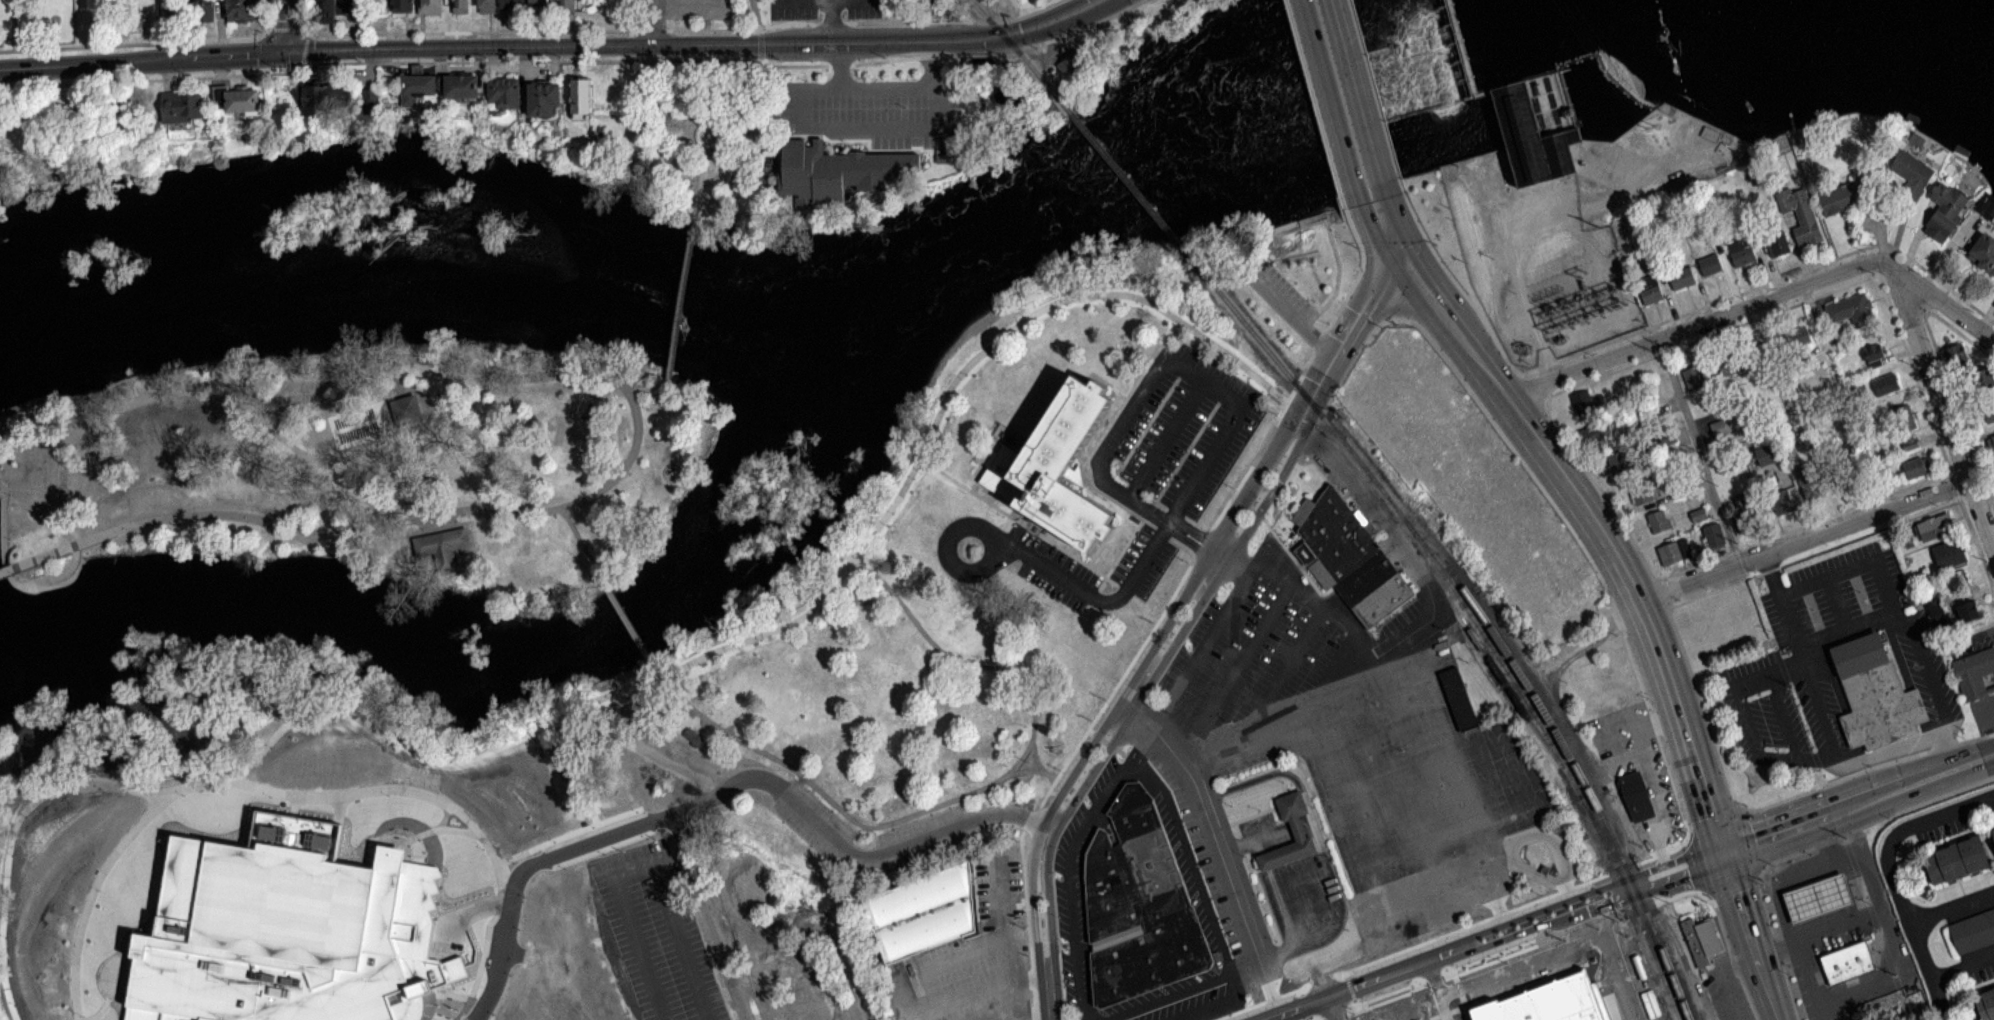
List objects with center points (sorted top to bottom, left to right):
road: (691, 1)
building: (540, 3)
building: (510, 4)
building: (566, 4)
building: (460, 6)
building: (487, 6)
building: (431, 7)
building: (339, 8)
parking lot: (696, 9)
building: (206, 10)
building: (240, 12)
road: (756, 14)
road: (272, 15)
road: (1017, 15)
road: (301, 16)
road: (654, 20)
road: (952, 20)
road: (878, 21)
road: (1145, 22)
road: (1050, 24)
road: (291, 26)
road: (530, 30)
road: (1069, 31)
road: (967, 38)
road: (134, 42)
road: (830, 43)
road: (759, 44)
road: (470, 47)
railway: (1017, 51)
traffic signals: (292, 52)
road: (975, 53)
road: (475, 59)
road: (930, 61)
building: (1069, 61)
building: (420, 85)
building: (462, 87)
building: (503, 93)
road: (1374, 94)
road: (693, 96)
building: (333, 98)
building: (582, 98)
road: (1342, 99)
building: (370, 100)
building: (545, 100)
building: (242, 101)
building: (182, 107)
road: (1314, 108)
building: (1522, 108)
dam: (1522, 108)
road: (696, 118)
road: (902, 125)
road: (727, 131)
park: (704, 132)
building: (834, 169)
building: (1910, 175)
railway: (1134, 189)
building: (1843, 197)
building: (1945, 211)
building: (1800, 213)
road: (1331, 241)
road: (1357, 242)
building: (1777, 243)
building: (1742, 252)
building: (1983, 253)
traffic signals: (1399, 254)
building: (1710, 265)
building: (1682, 277)
road: (1454, 280)
road: (1761, 283)
road: (681, 287)
parking lot: (1284, 287)
building: (1651, 292)
road: (1378, 293)
river: (761, 297)
road: (1757, 300)
building: (1849, 308)
power substation: (1567, 310)
road: (1289, 314)
road: (1312, 314)
road: (1304, 322)
road: (1960, 333)
road: (1321, 335)
road: (1345, 336)
road: (1701, 336)
building: (1799, 336)
building: (1876, 353)
road: (1353, 356)
road: (411, 357)
building: (1734, 363)
road: (1211, 383)
building: (1985, 383)
building: (1886, 384)
road: (649, 387)
road: (1532, 390)
building: (615, 393)
building: (1584, 401)
road: (28, 402)
road: (373, 404)
road: (1940, 407)
road: (1957, 411)
building: (1989, 411)
building: (1904, 418)
road: (1315, 421)
road: (355, 424)
building: (1725, 427)
building: (1596, 433)
road: (1935, 433)
road: (1163, 436)
building: (1993, 440)
building: (1806, 441)
building: (1911, 443)
road: (1697, 450)
road: (395, 453)
building: (1768, 454)
road: (422, 462)
building: (1619, 463)
road: (1249, 465)
building: (1917, 466)
building: (1051, 468)
park: (367, 469)
building: (1809, 480)
road: (25, 487)
building: (1643, 492)
road: (1130, 498)
road: (1229, 499)
road: (433, 501)
building: (1780, 502)
road: (1583, 505)
building: (1745, 505)
road: (1246, 508)
building: (1698, 513)
road: (436, 515)
building: (1659, 520)
road: (272, 523)
road: (1022, 524)
road: (1800, 524)
road: (977, 525)
building: (1934, 527)
road: (1179, 528)
building: (1714, 535)
road: (1801, 540)
road: (1200, 542)
road: (69, 543)
road: (581, 544)
building: (446, 546)
road: (1208, 548)
road: (1583, 550)
building: (1675, 551)
road: (1810, 553)
road: (1290, 554)
building: (1949, 554)
road: (1218, 555)
building: (1347, 559)
road: (5, 569)
road: (9, 577)
road: (1094, 596)
road: (1662, 601)
road: (1889, 608)
road: (1223, 611)
building: (1735, 611)
building: (1969, 611)
building: (1938, 613)
road: (1424, 621)
railway: (1486, 621)
road: (628, 623)
building: (1704, 632)
road: (1827, 641)
road: (1801, 653)
road: (1235, 668)
road: (1282, 671)
road: (1757, 675)
building: (1976, 675)
road: (1182, 677)
road: (1115, 682)
road: (615, 690)
building: (1872, 693)
building: (1456, 698)
road: (1116, 703)
railway: (1517, 704)
road: (1132, 706)
road: (1284, 718)
road: (1565, 724)
park: (832, 727)
building: (693, 735)
road: (1140, 743)
railway: (1555, 753)
road: (1953, 754)
road: (1795, 758)
road: (1975, 759)
road: (1864, 766)
road: (1038, 768)
road: (1046, 773)
road: (1119, 775)
road: (769, 782)
road: (379, 788)
road: (962, 794)
building: (1634, 795)
road: (293, 805)
road: (339, 809)
road: (1839, 810)
road: (1308, 812)
road: (444, 816)
road: (1032, 818)
road: (1871, 820)
road: (415, 826)
building: (1295, 828)
road: (1691, 830)
building: (1993, 830)
road: (1541, 832)
road: (566, 834)
road: (1265, 834)
road: (406, 839)
road: (1216, 841)
building: (651, 846)
road: (416, 847)
traffic signals: (1721, 850)
building: (1956, 861)
road: (522, 868)
road: (1696, 869)
road: (1892, 877)
building: (740, 879)
building: (568, 883)
building: (536, 890)
road: (1365, 893)
road: (1585, 893)
road: (1614, 897)
road: (90, 898)
building: (504, 898)
building: (1815, 898)
building: (740, 905)
building: (1136, 906)
road: (1779, 906)
building: (573, 907)
road: (1952, 908)
road: (628, 912)
building: (921, 912)
road: (1314, 912)
road: (463, 914)
building: (517, 920)
road: (1026, 923)
building: (676, 925)
road: (1837, 927)
building: (750, 928)
road: (1451, 928)
road: (1885, 928)
building: (286, 930)
building: (1972, 933)
road: (1750, 934)
parking lot: (655, 935)
building: (1699, 939)
road: (680, 940)
road: (484, 948)
building: (684, 948)
road: (1775, 948)
building: (519, 952)
road: (1510, 956)
road: (1729, 958)
road: (1446, 959)
building: (763, 960)
building: (1845, 961)
road: (1607, 964)
road: (1389, 966)
road: (1962, 966)
road: (843, 968)
building: (691, 973)
road: (1805, 973)
road: (1247, 974)
building: (532, 977)
road: (1215, 977)
road: (994, 979)
building: (464, 982)
road: (1437, 986)
road: (436, 992)
building: (1623, 993)
road: (1328, 995)
parking lot: (1725, 996)
road: (110, 997)
building: (1547, 1002)
building: (1985, 1003)
road: (1283, 1004)
road: (418, 1009)
road: (1306, 1010)
road: (1333, 1010)
park: (1404, 1011)
road: (96, 1012)
road: (406, 1012)
road: (461, 1016)
road: (1034, 1017)
road: (1049, 1017)
road: (465, 1018)
road: (1280, 1019)

